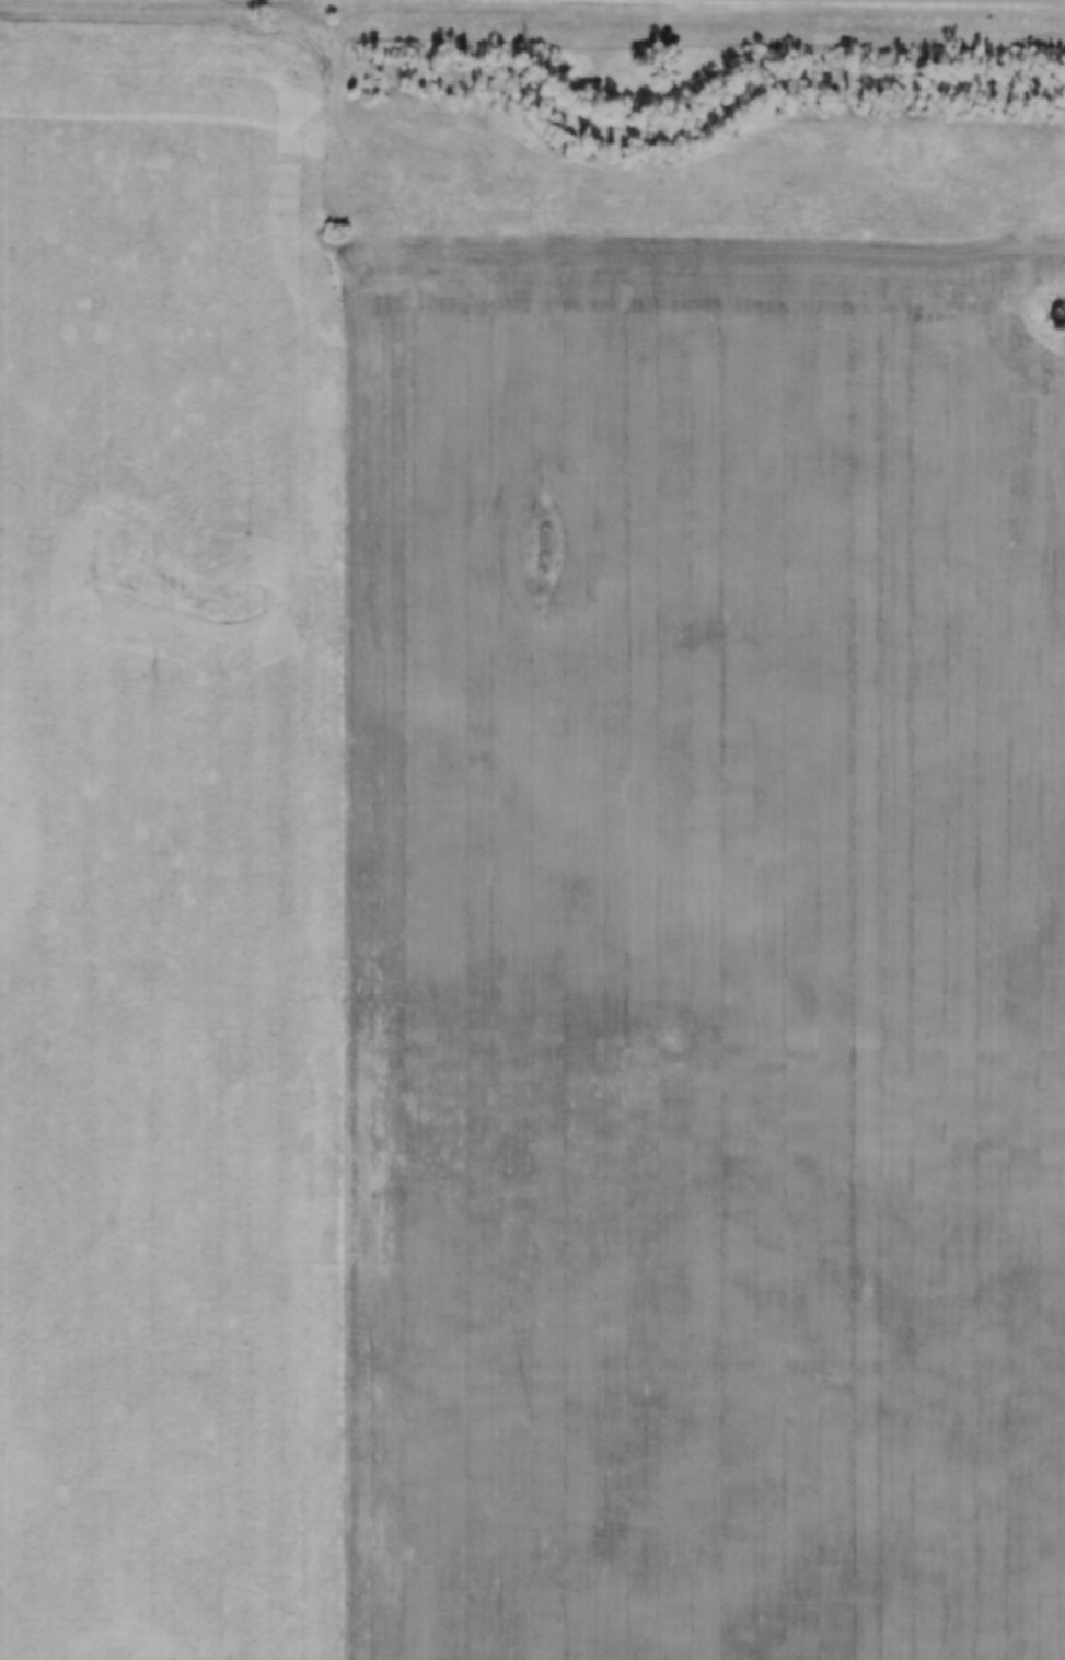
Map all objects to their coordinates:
road: (1038, 0)

